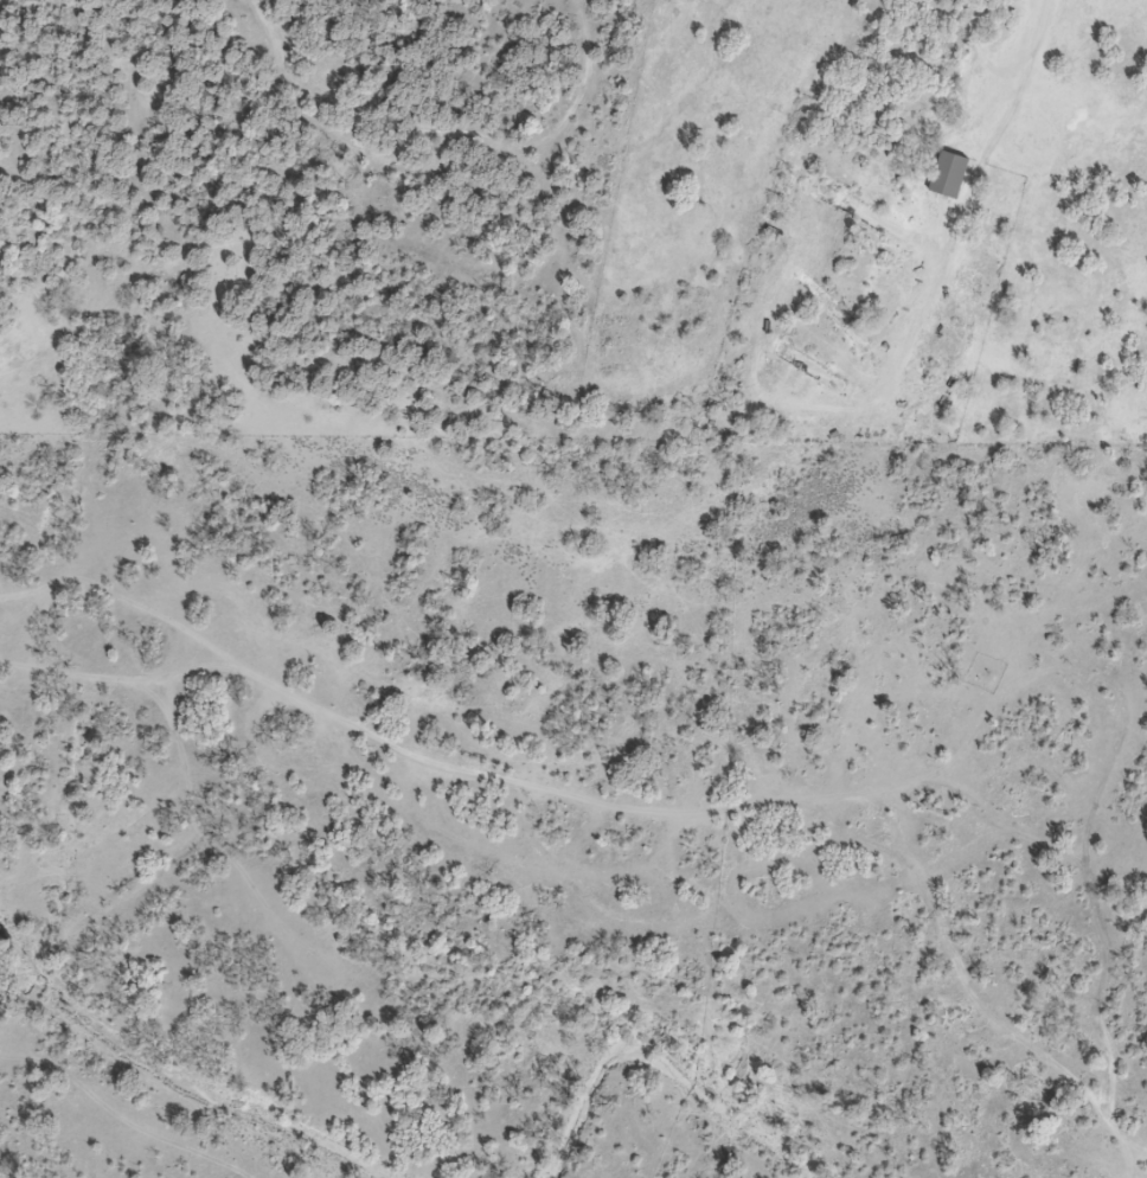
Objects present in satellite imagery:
building: (953, 172)

